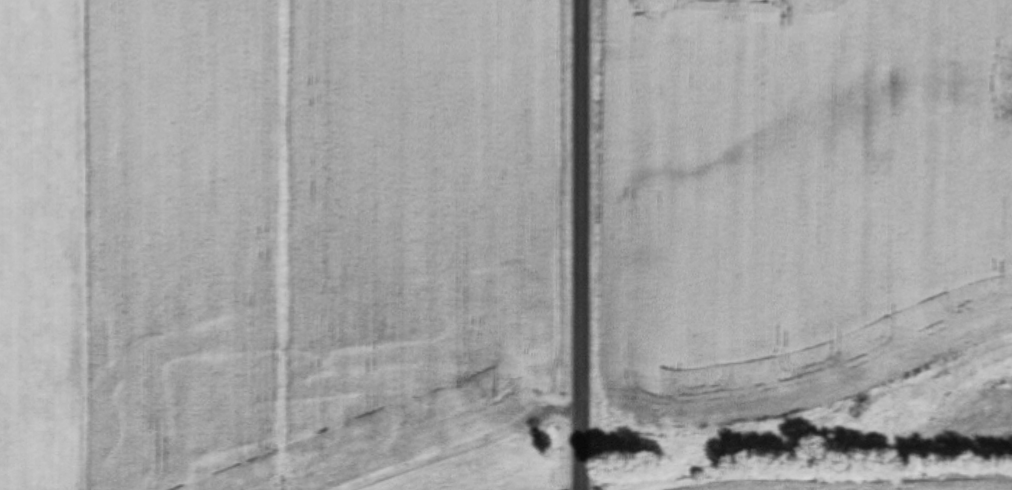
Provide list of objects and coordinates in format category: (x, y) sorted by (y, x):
road: (581, 245)

